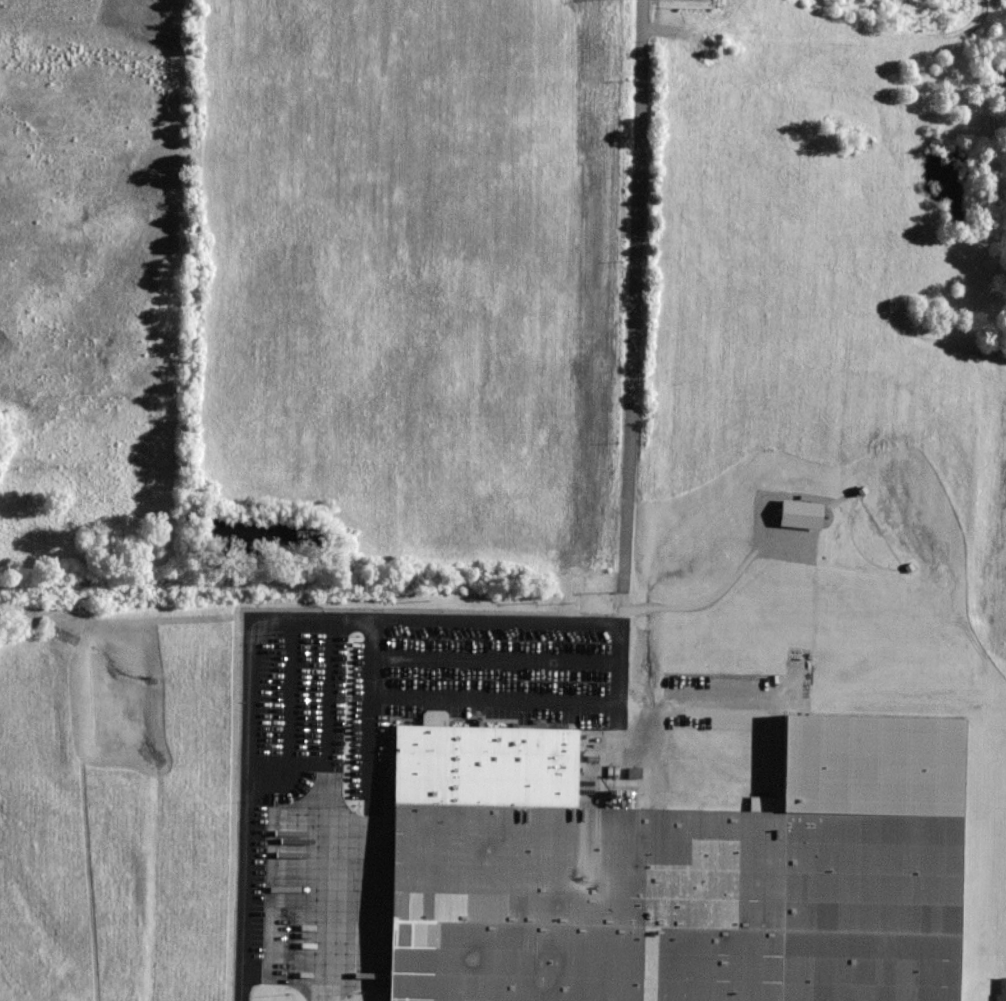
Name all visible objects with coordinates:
road: (638, 296)
parking lot: (393, 703)
building: (676, 872)
road: (325, 913)
building: (1002, 989)

